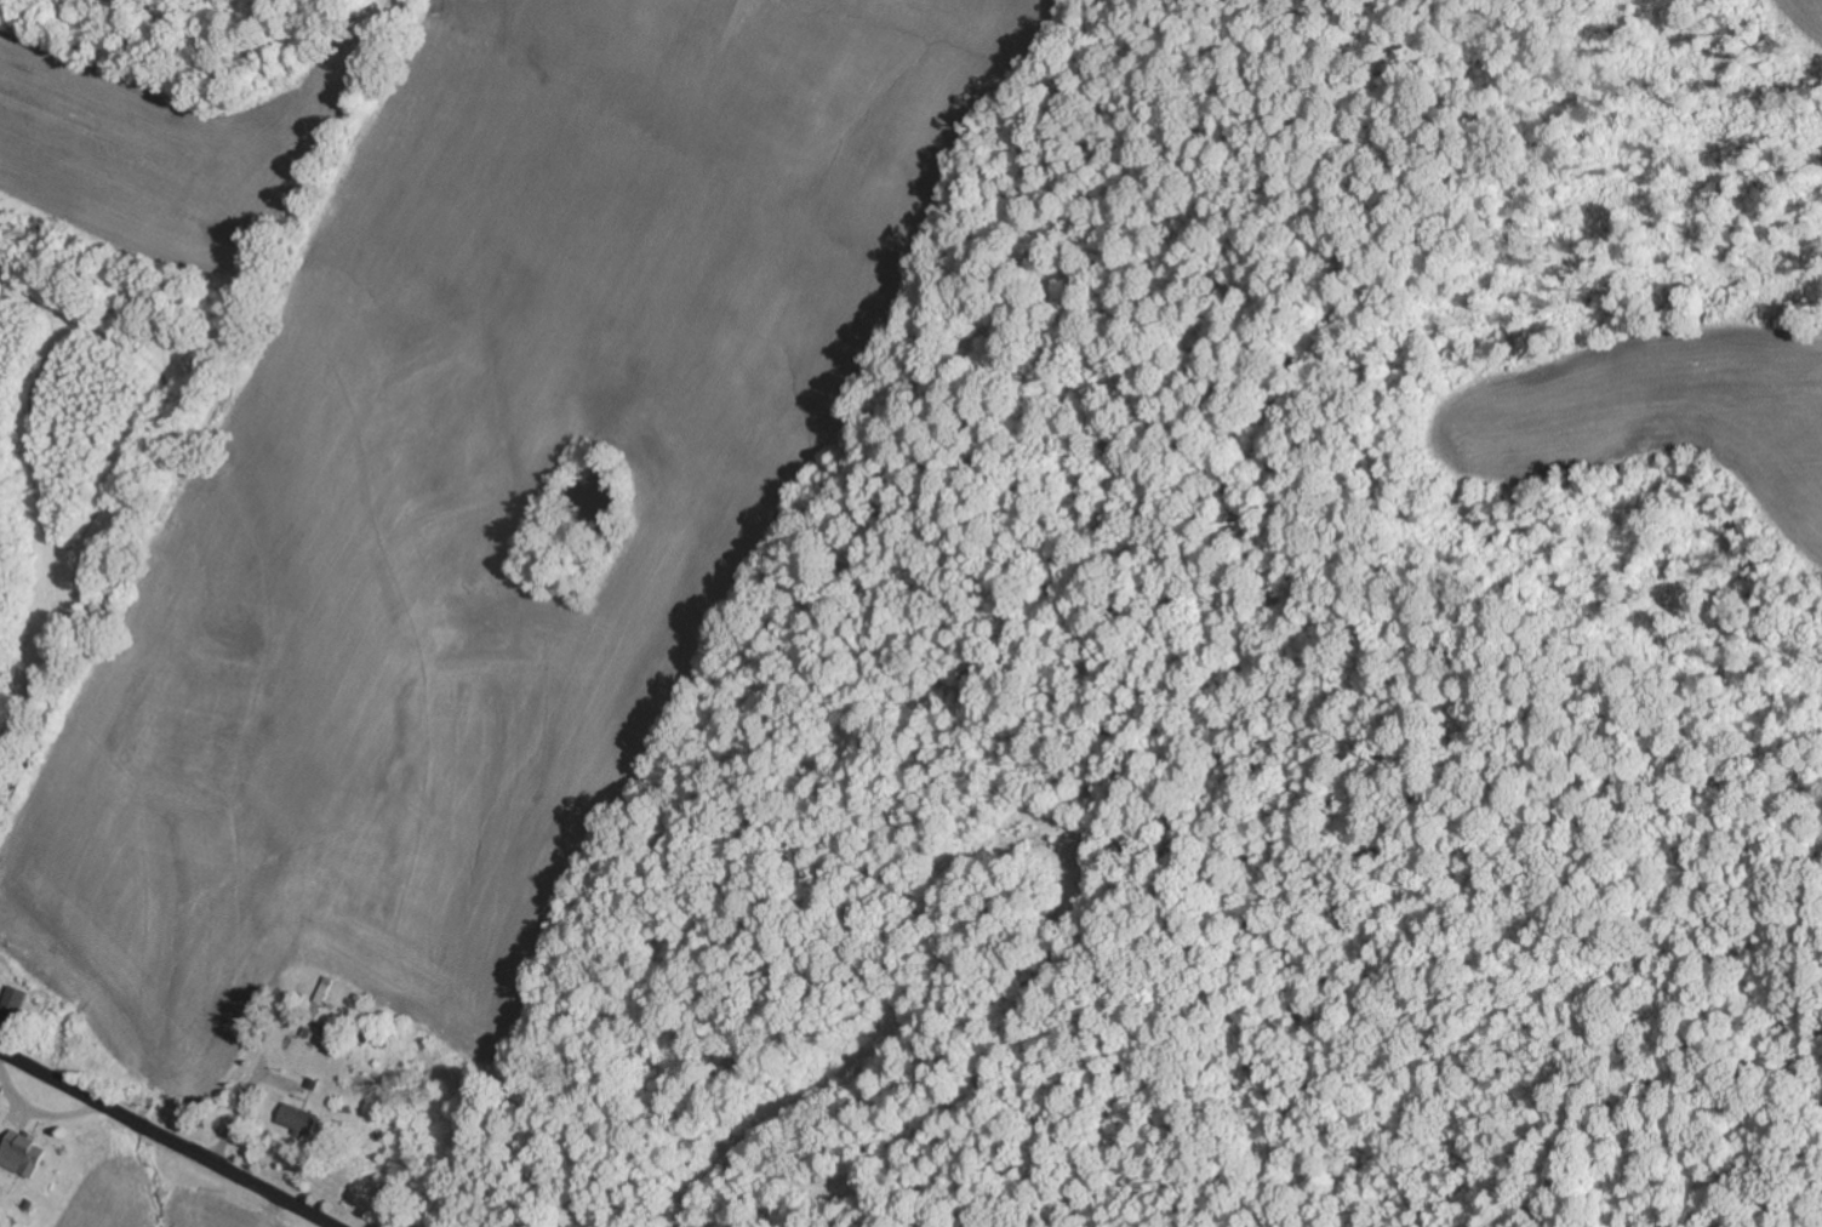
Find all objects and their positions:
building: (324, 999)
building: (310, 1111)
road: (169, 1138)
building: (24, 1154)

